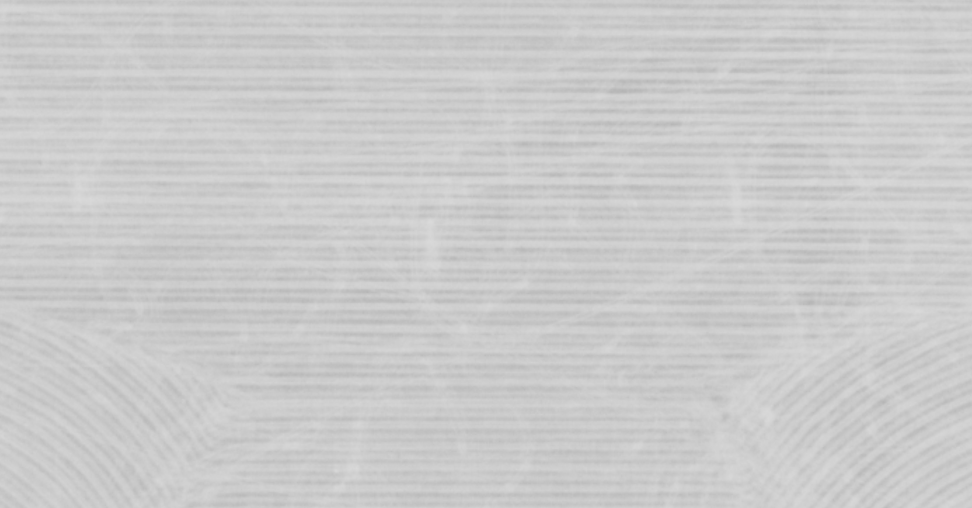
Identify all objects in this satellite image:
crop: (486, 254)

